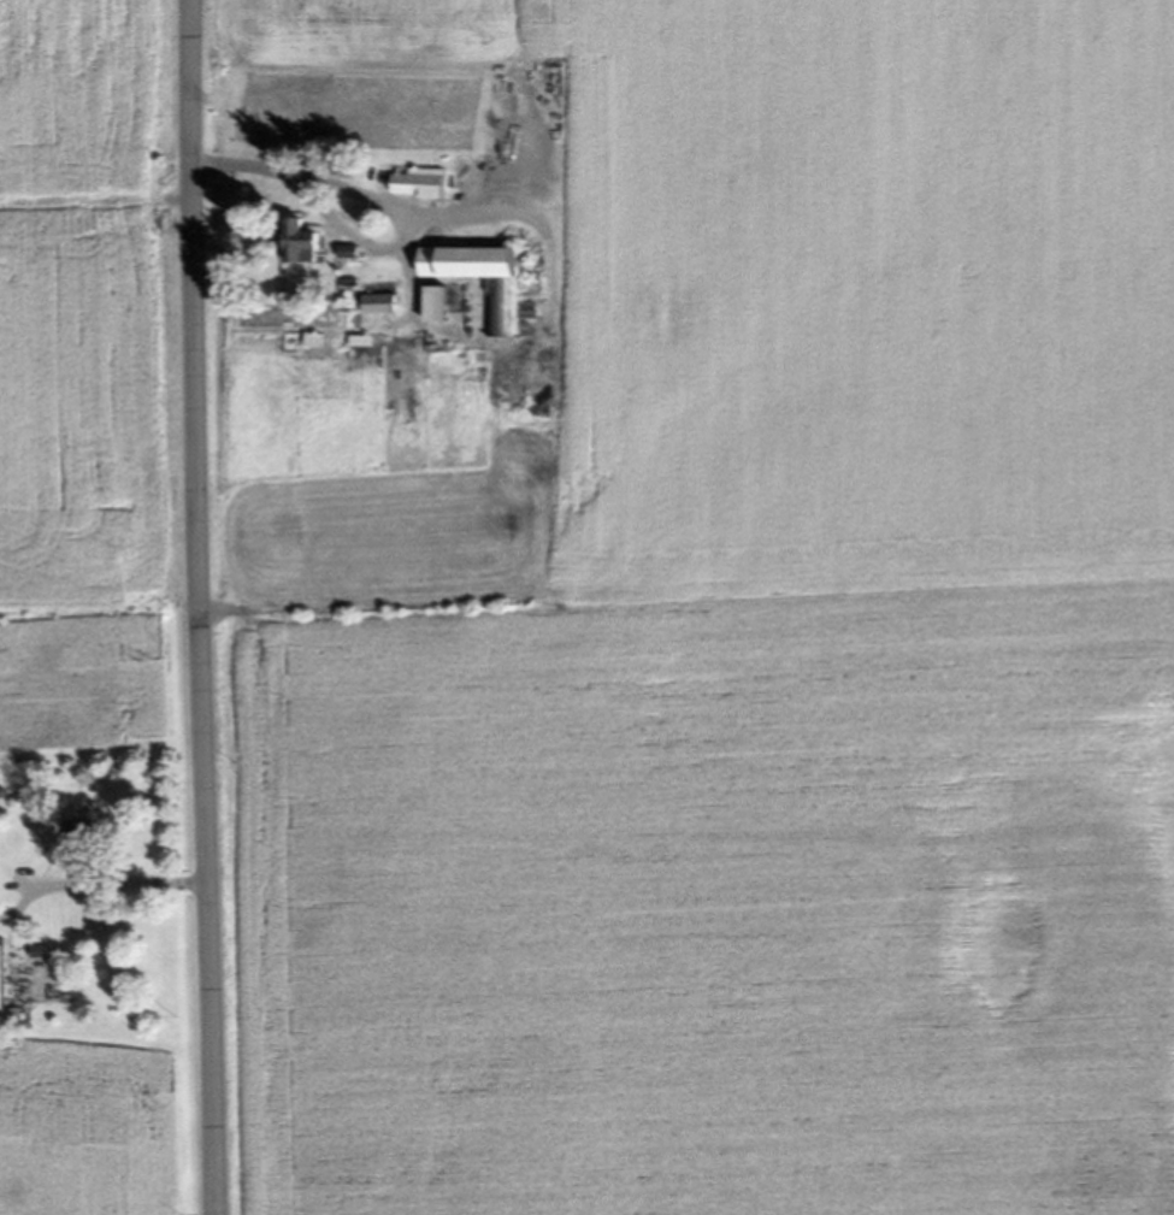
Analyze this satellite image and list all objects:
building: (425, 188)
road: (515, 210)
road: (362, 244)
building: (308, 248)
building: (352, 256)
building: (476, 267)
building: (382, 308)
building: (439, 309)
road: (203, 607)
road: (122, 872)
building: (5, 983)

